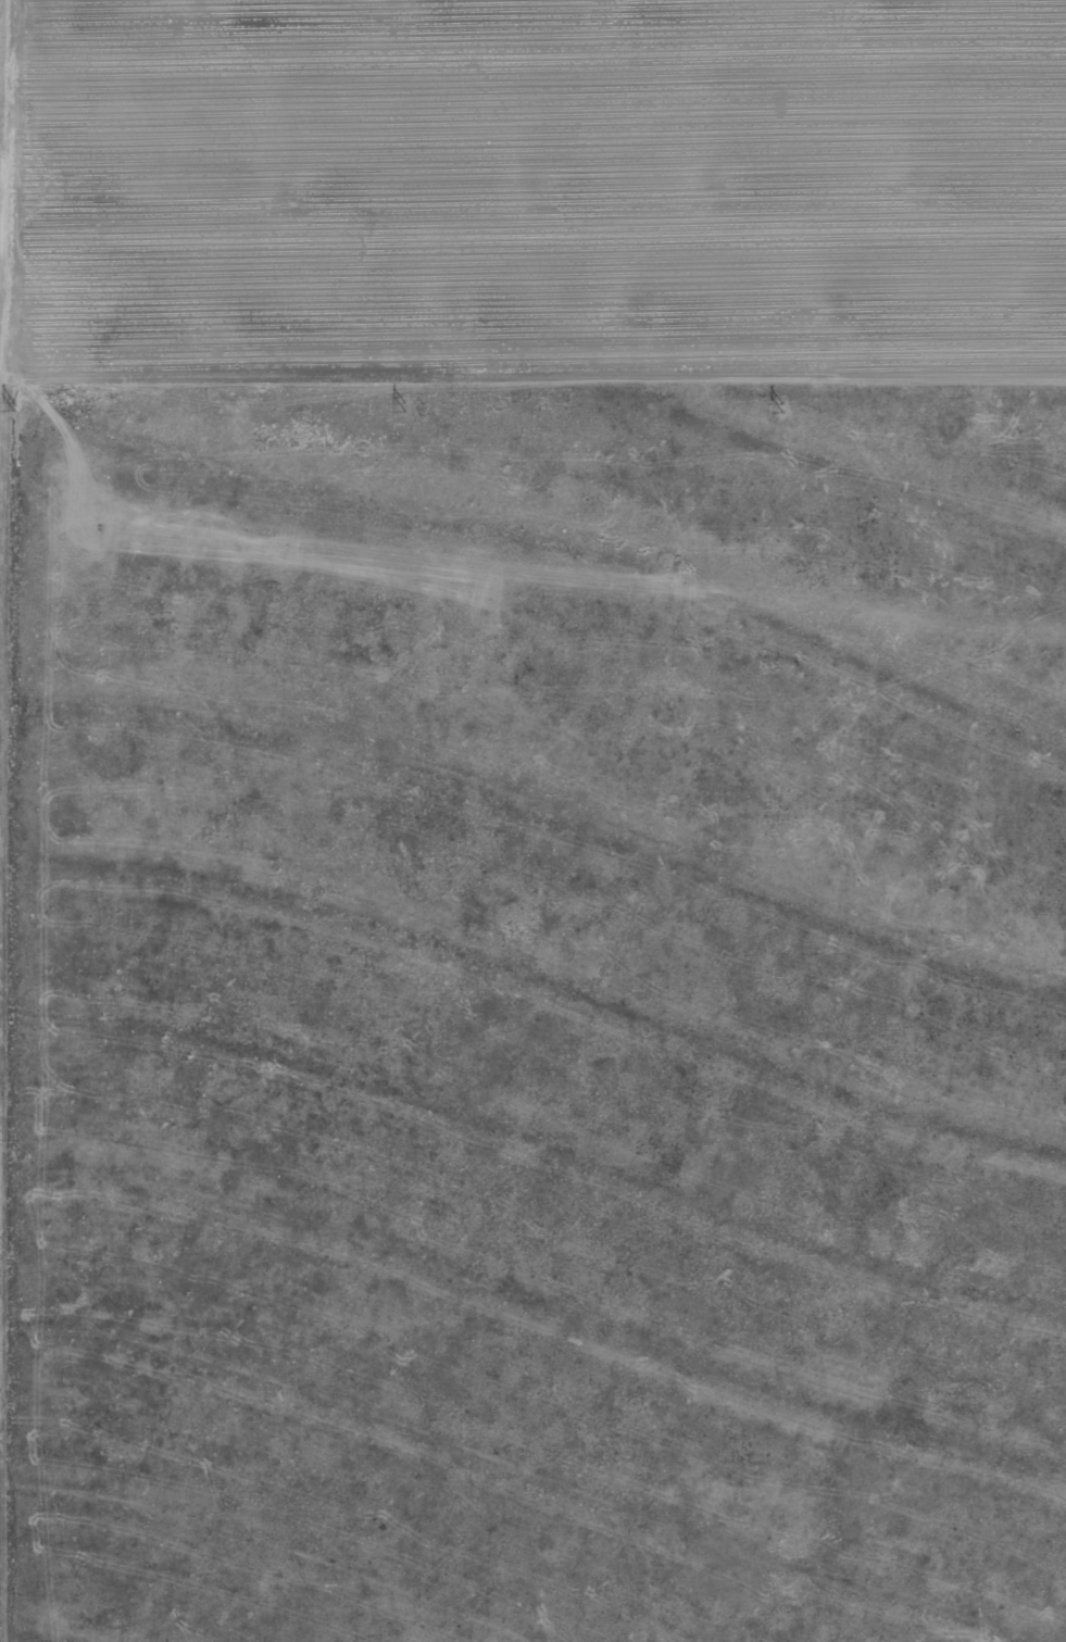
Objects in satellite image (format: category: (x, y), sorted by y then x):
road: (532, 389)
power tower: (11, 400)
power tower: (778, 403)
power tower: (403, 404)

